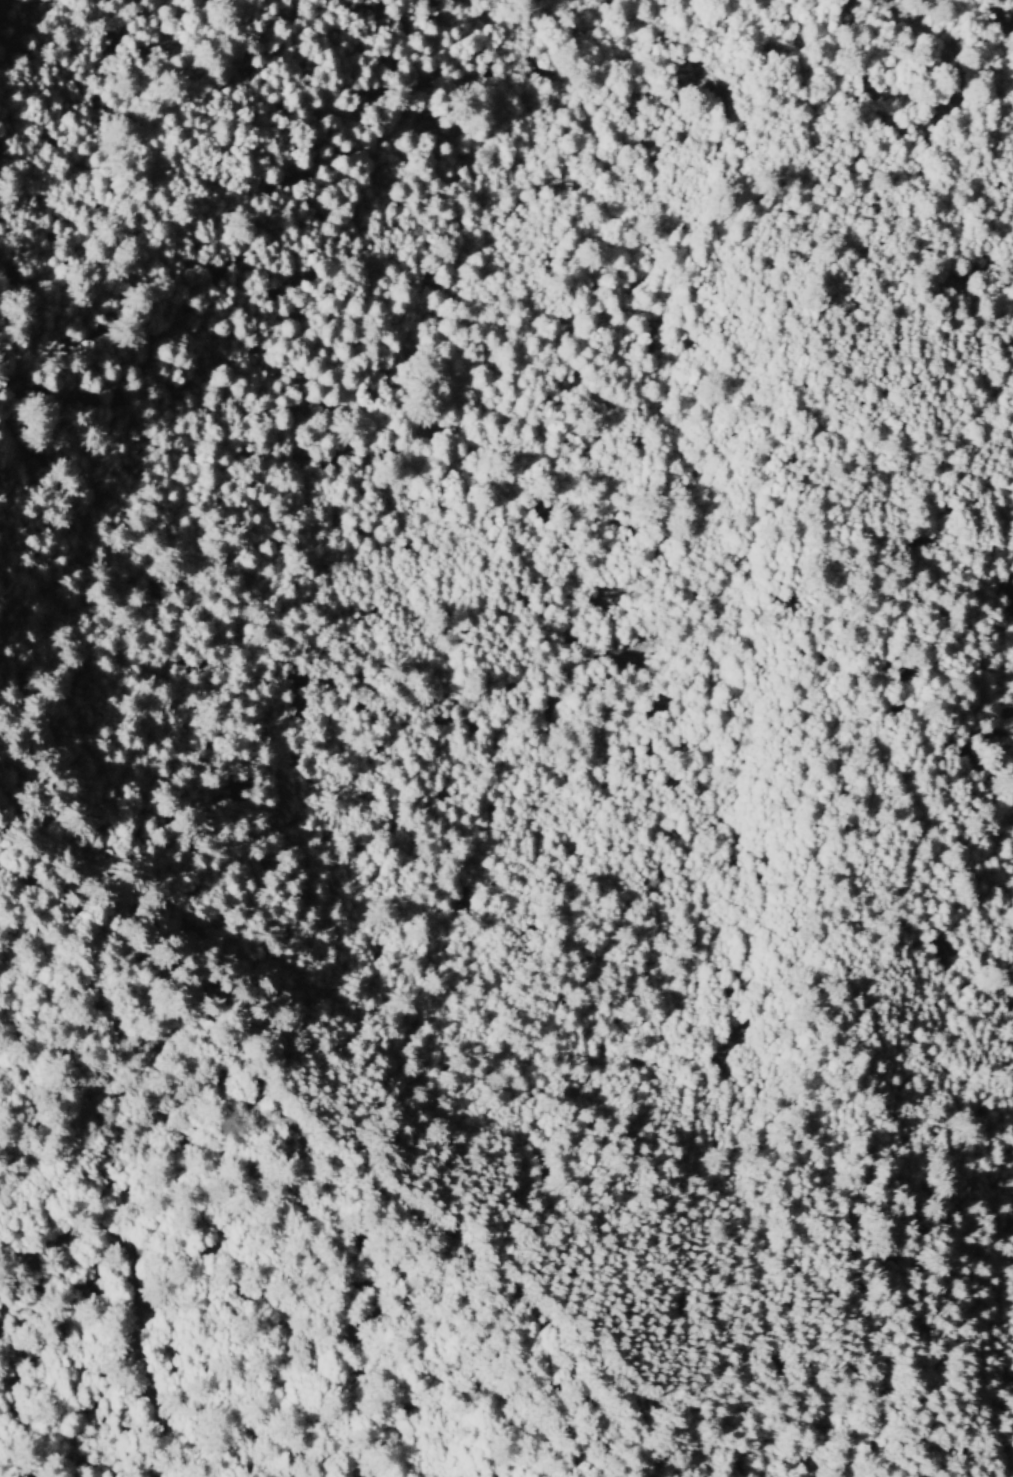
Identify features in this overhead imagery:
road: (141, 1294)

